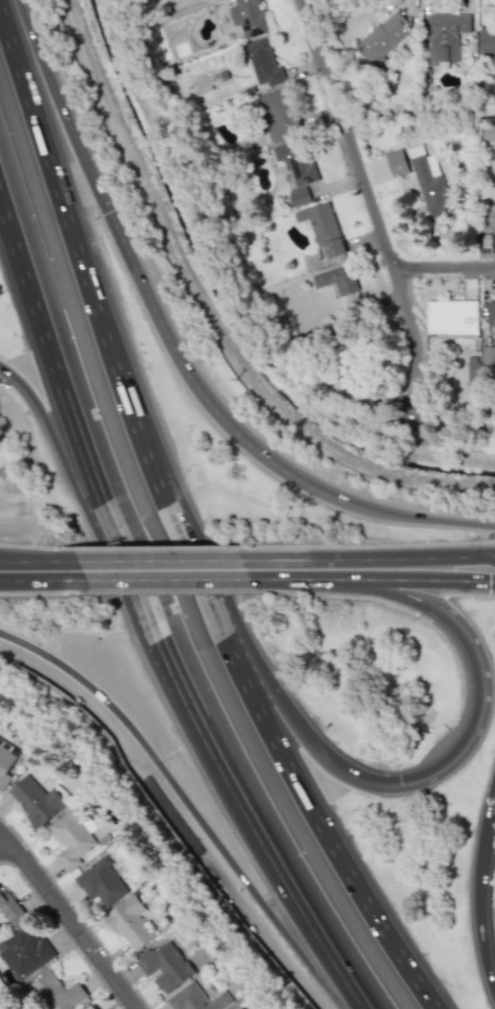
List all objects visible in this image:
building: (248, 17)
building: (445, 37)
building: (382, 39)
building: (487, 42)
building: (263, 61)
road: (60, 106)
building: (279, 112)
building: (145, 113)
building: (295, 160)
building: (396, 162)
building: (430, 184)
building: (299, 196)
road: (373, 207)
building: (488, 217)
building: (322, 228)
road: (453, 258)
road: (444, 264)
building: (337, 280)
building: (491, 313)
building: (452, 318)
road: (48, 351)
building: (488, 354)
building: (472, 371)
road: (201, 378)
road: (419, 513)
road: (180, 522)
road: (200, 536)
road: (493, 555)
road: (461, 557)
road: (493, 557)
road: (16, 565)
road: (266, 566)
road: (354, 566)
road: (167, 567)
road: (56, 568)
road: (16, 569)
road: (461, 582)
road: (359, 583)
road: (216, 591)
road: (129, 608)
road: (483, 712)
road: (220, 761)
building: (5, 763)
building: (35, 799)
road: (493, 806)
road: (182, 810)
building: (70, 838)
road: (5, 846)
building: (100, 882)
road: (482, 903)
building: (10, 907)
road: (77, 911)
road: (70, 920)
building: (129, 923)
building: (24, 951)
building: (165, 965)
building: (56, 992)
building: (196, 998)
building: (91, 1007)
building: (235, 1008)

